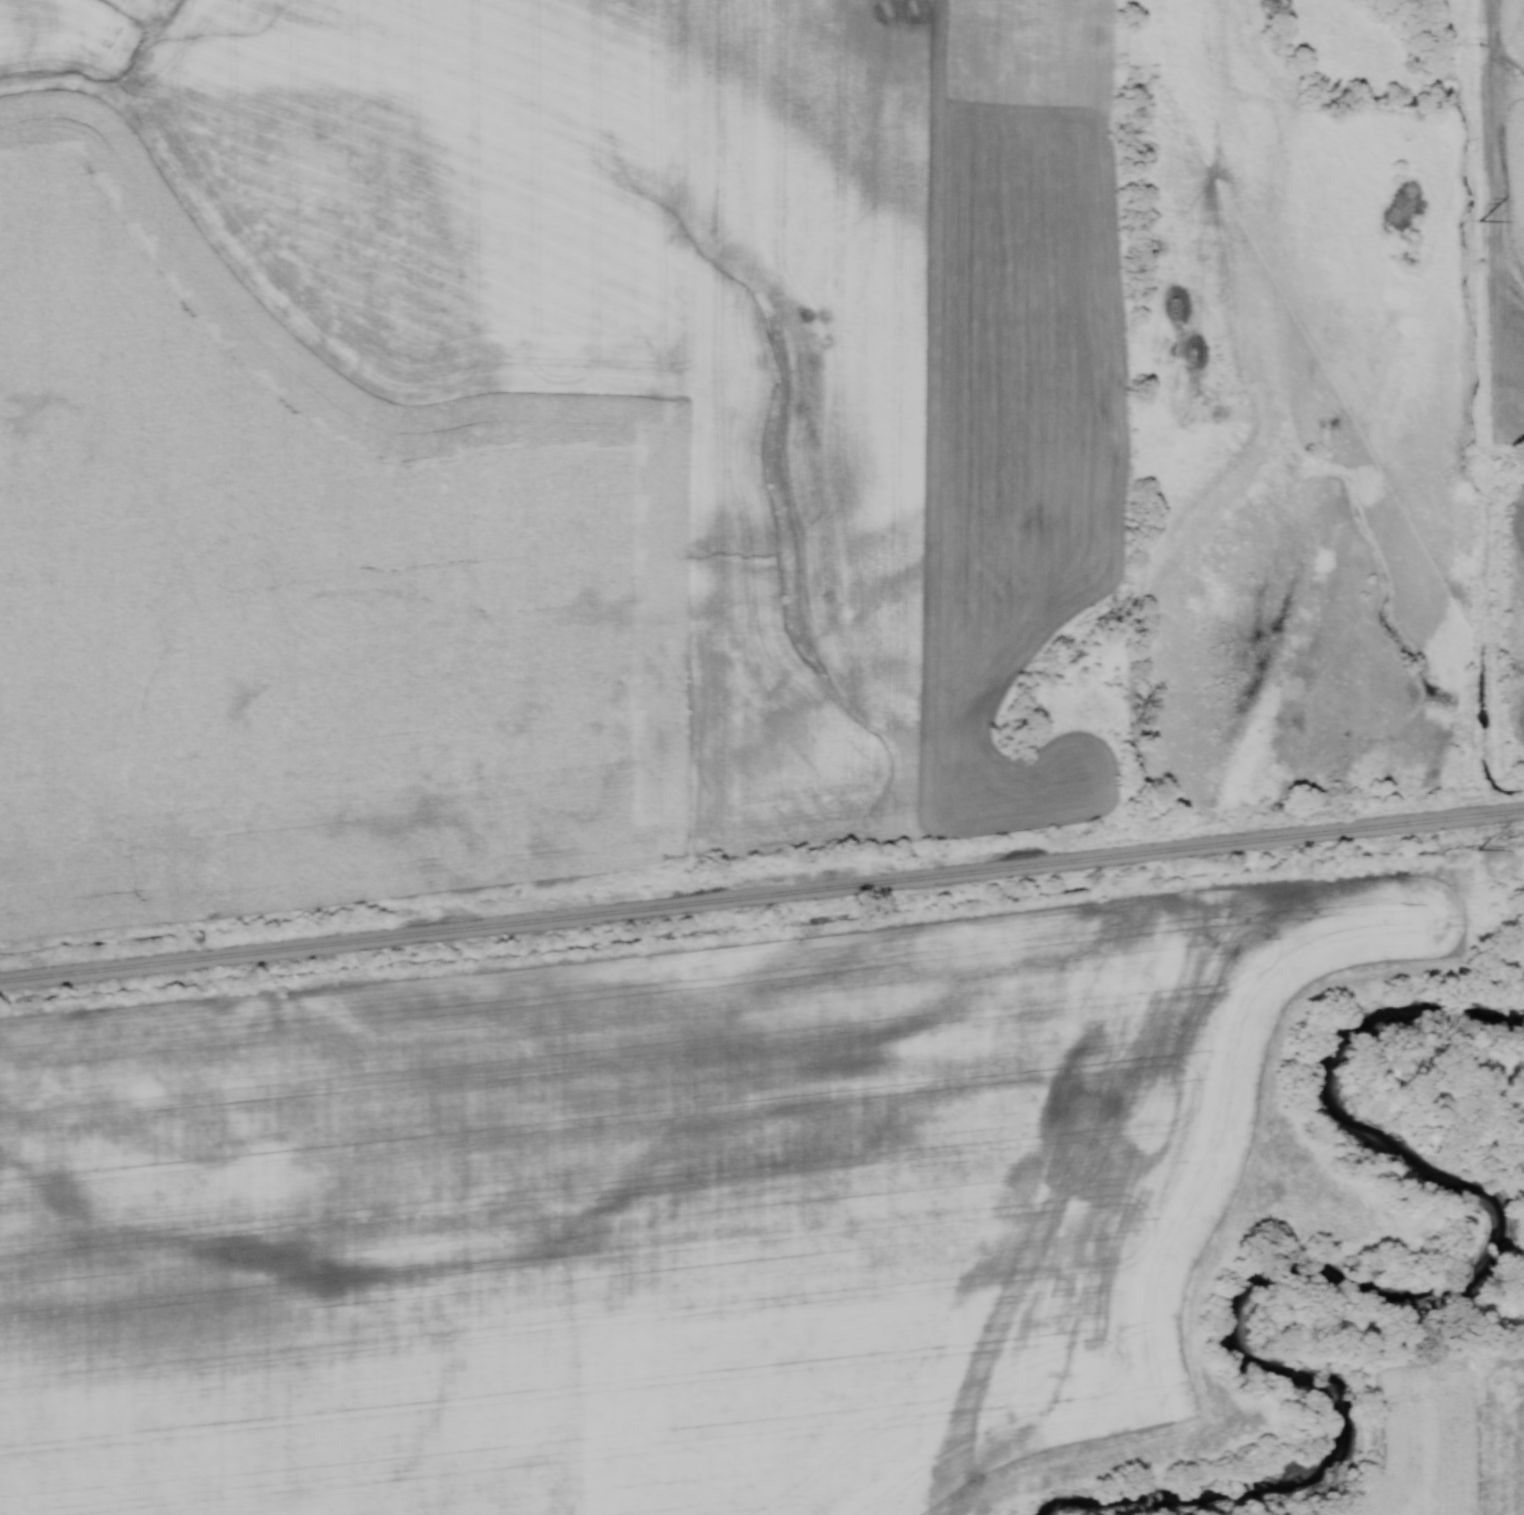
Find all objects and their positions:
power tower: (1478, 219)
power tower: (1476, 850)
railway: (762, 894)
river: (1352, 1277)

